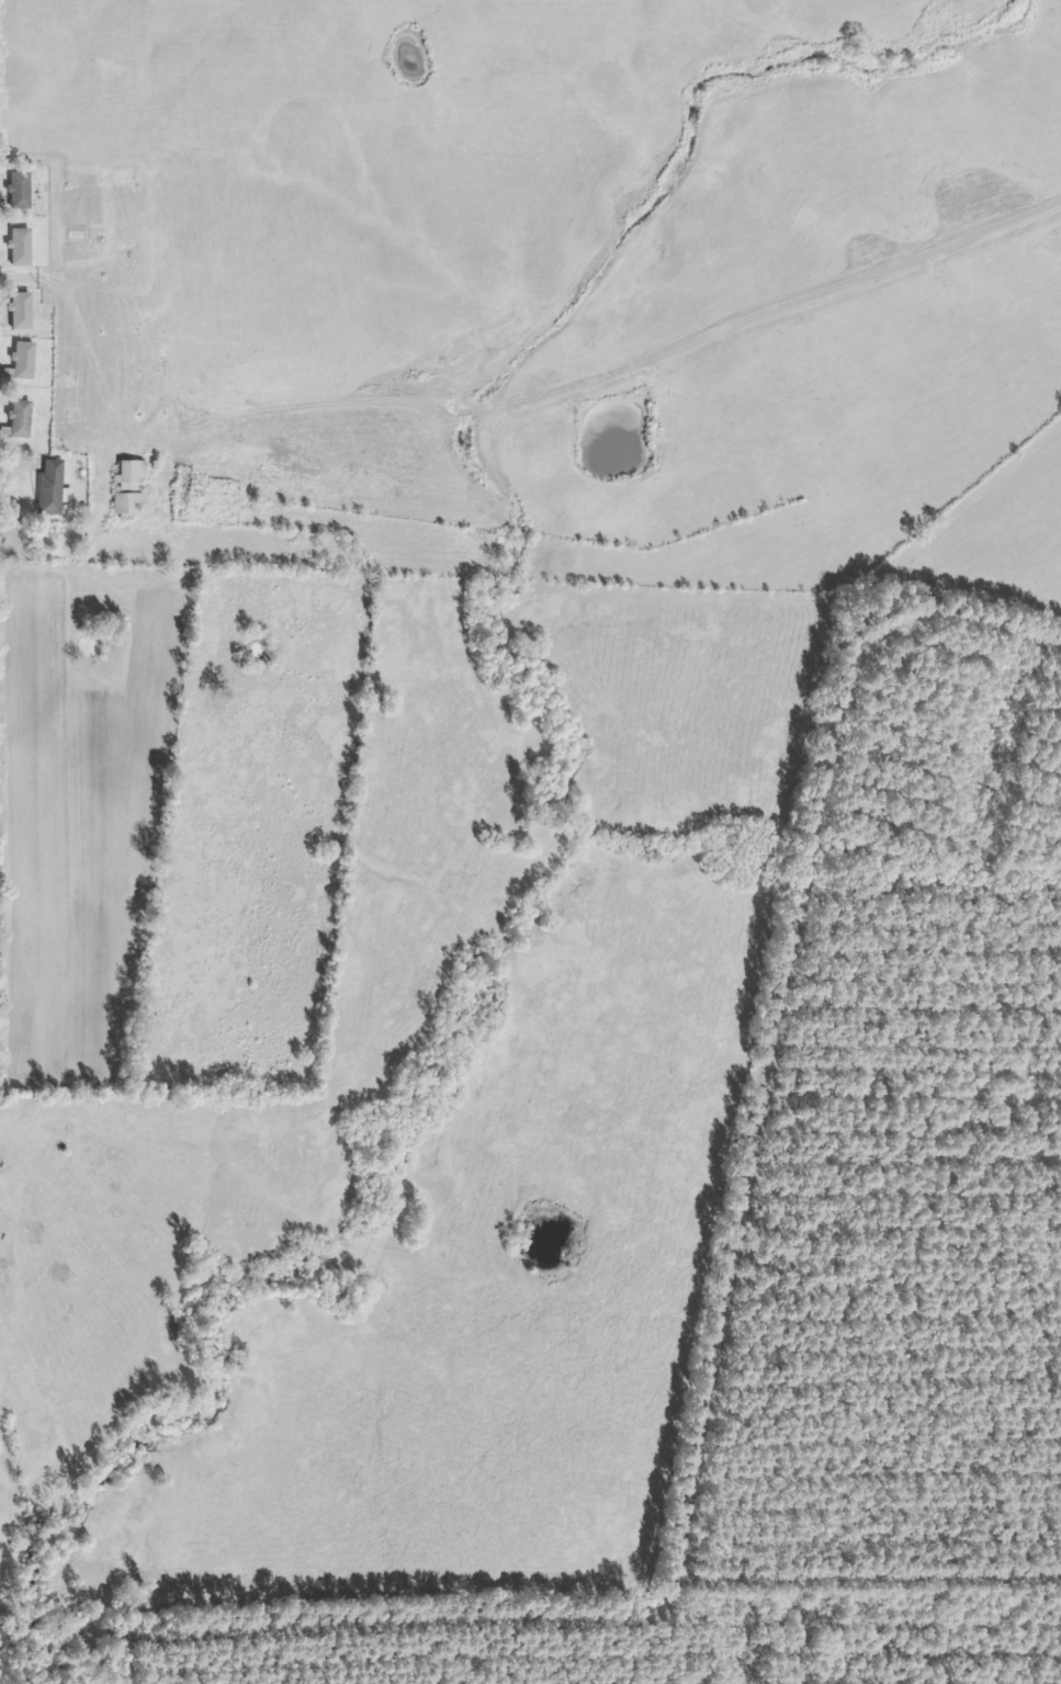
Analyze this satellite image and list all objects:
building: (24, 189)
building: (25, 246)
building: (26, 310)
building: (29, 360)
building: (25, 418)
building: (133, 486)
building: (57, 488)

